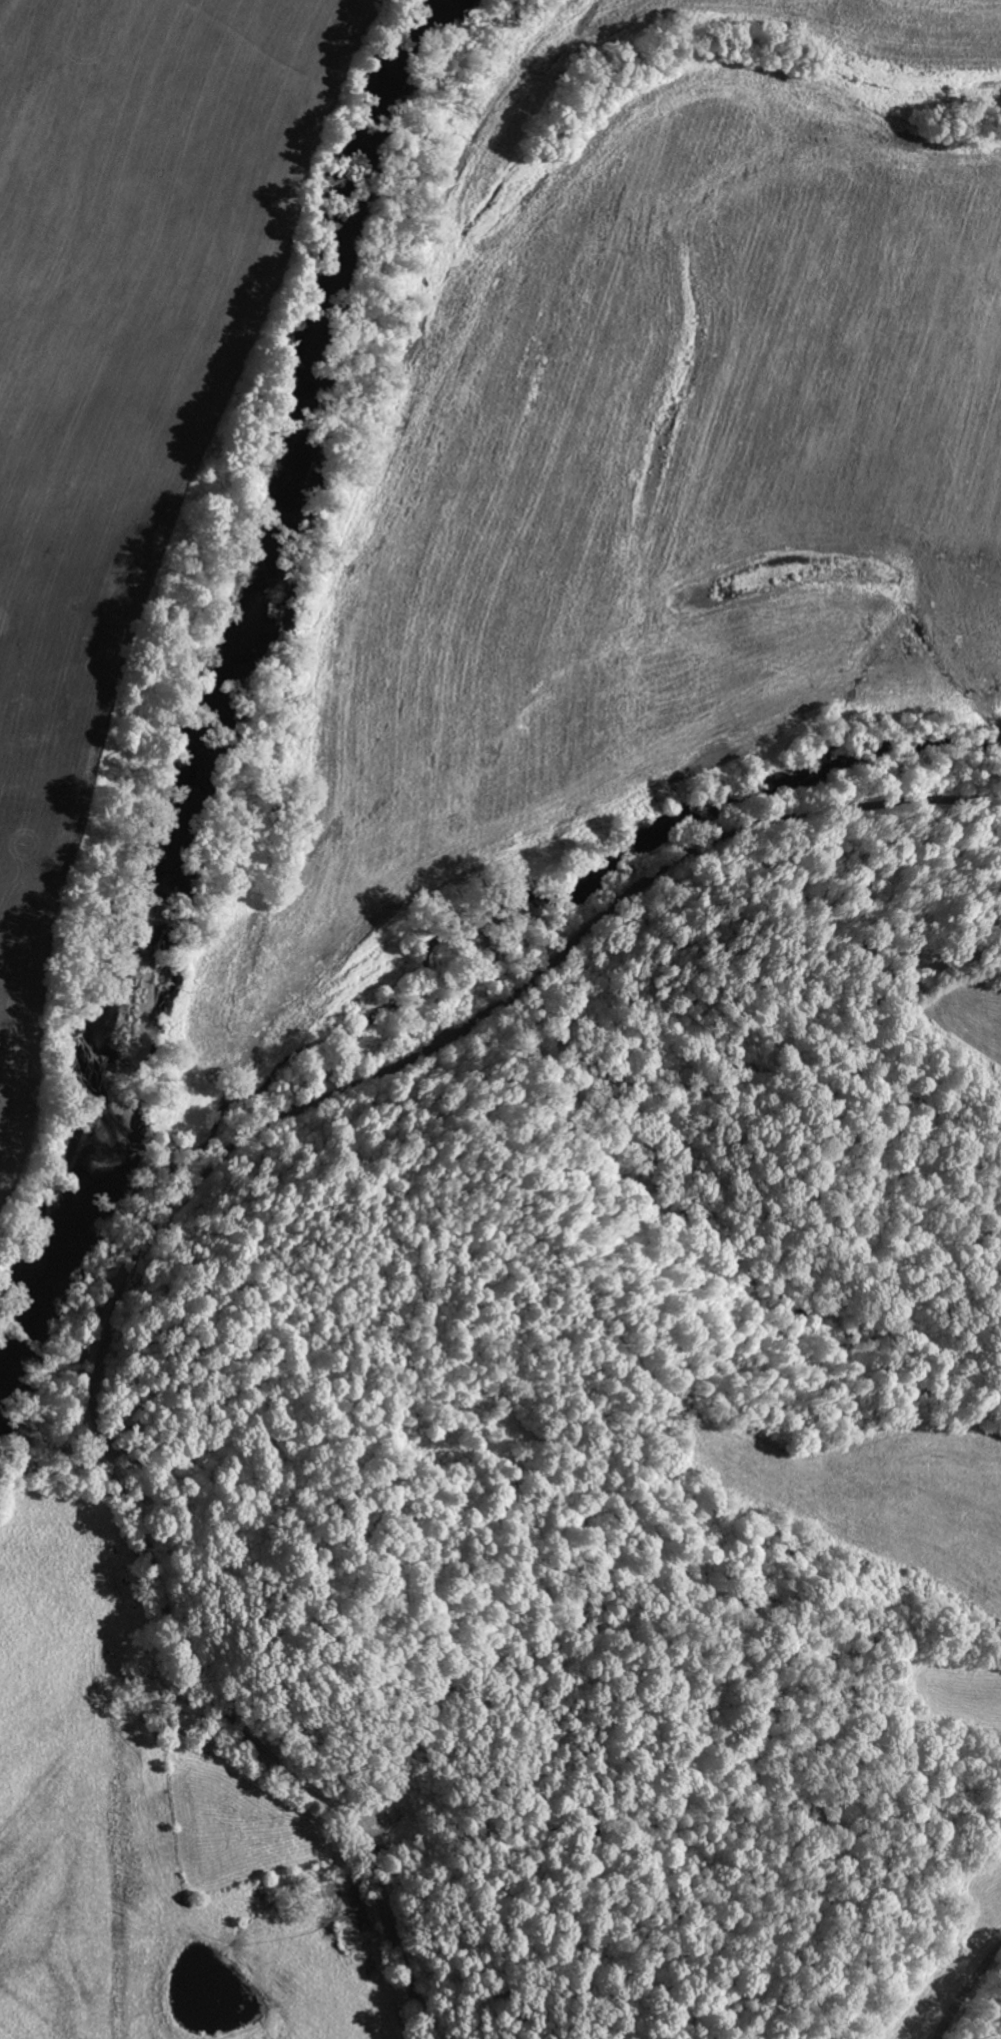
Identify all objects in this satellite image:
river: (220, 675)
road: (902, 802)
road: (126, 1277)
road: (938, 1399)
road: (395, 1904)
road: (966, 1992)

